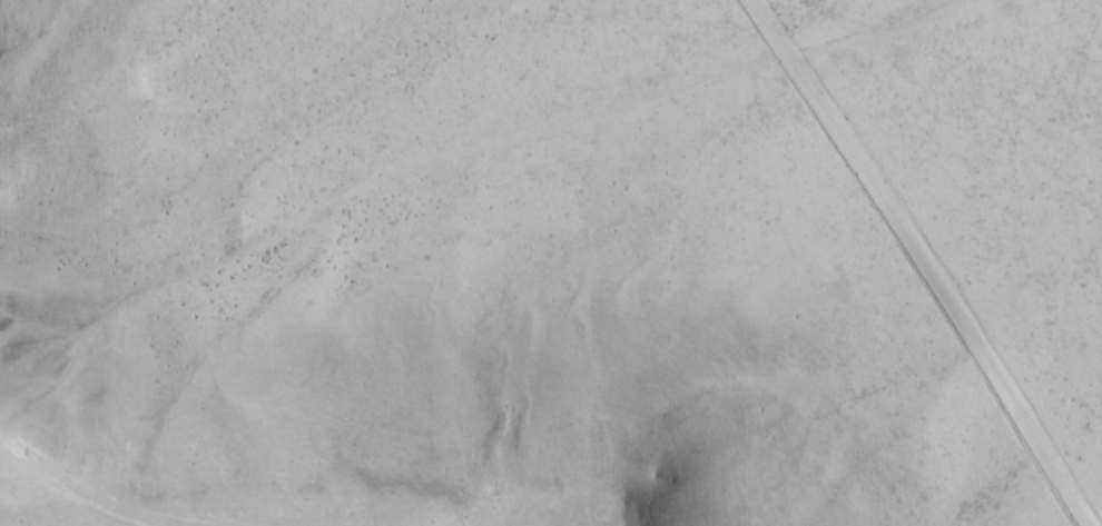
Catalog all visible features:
road: (898, 254)
road: (1093, 443)
road: (124, 502)

